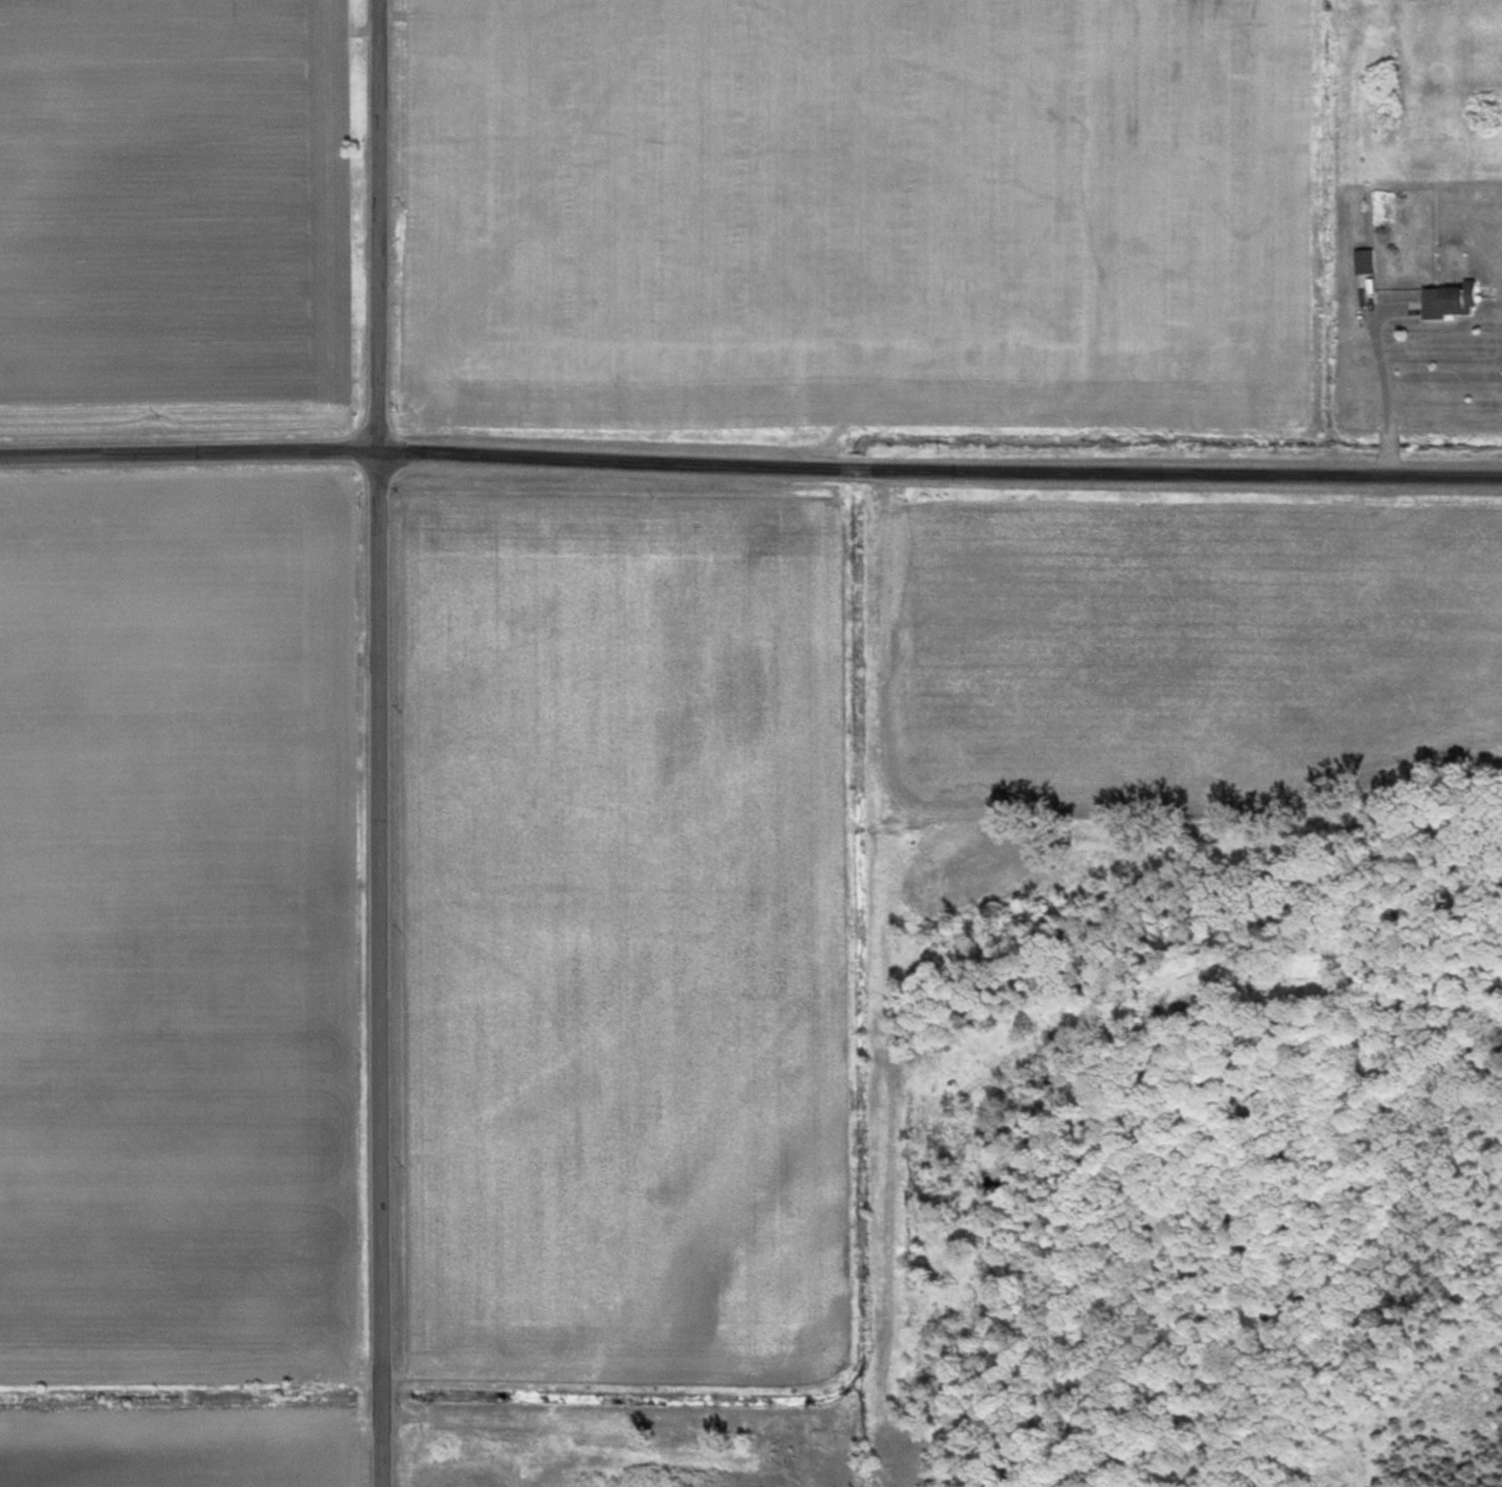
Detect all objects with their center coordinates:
crop: (851, 212)
crop: (170, 217)
road: (376, 224)
building: (1364, 258)
building: (1449, 298)
road: (1375, 376)
road: (750, 460)
road: (377, 967)

